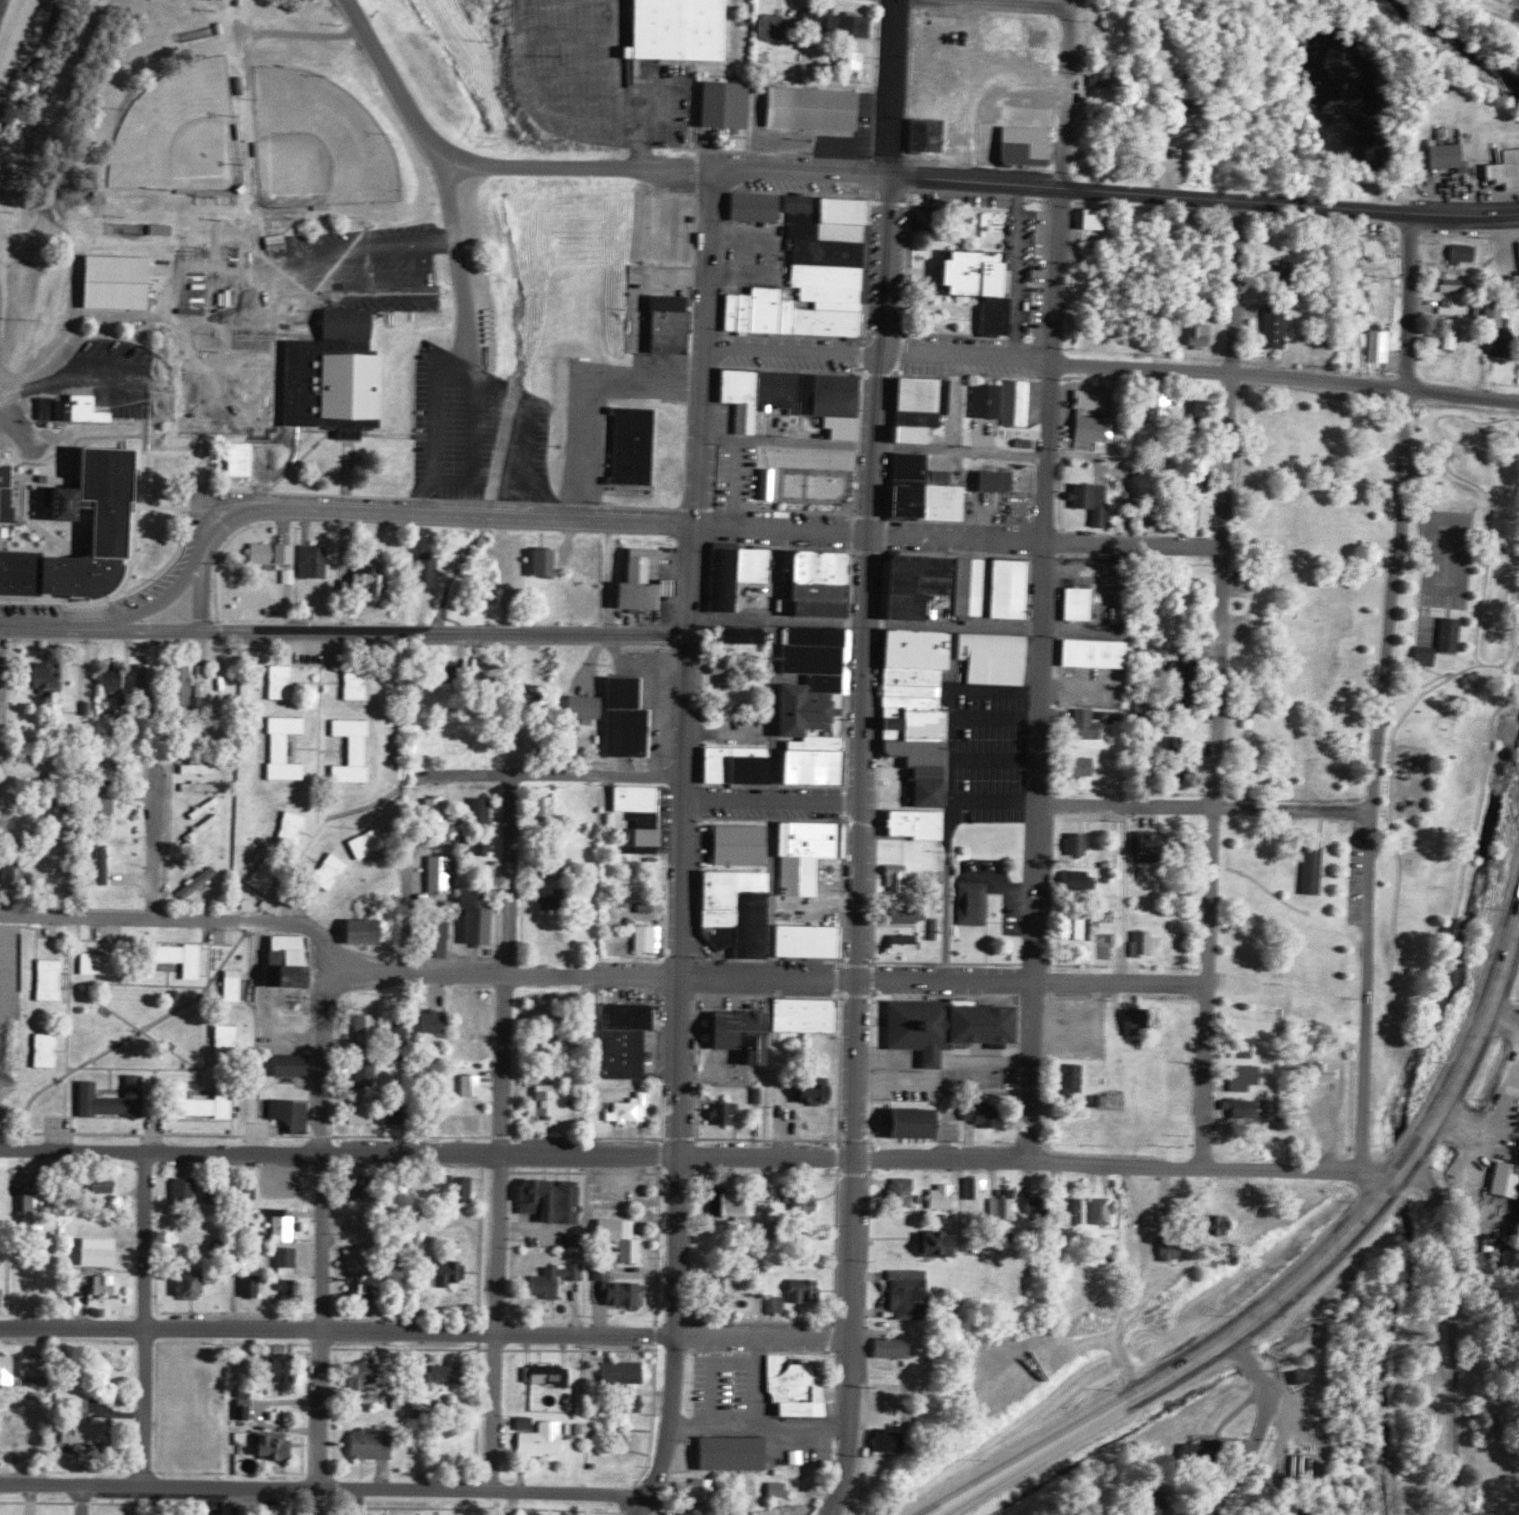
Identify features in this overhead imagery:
road: (993, 6)
building: (820, 19)
building: (856, 25)
building: (775, 26)
building: (674, 29)
road: (305, 34)
building: (855, 60)
building: (1104, 76)
road: (616, 85)
building: (717, 105)
building: (1185, 107)
building: (818, 108)
park: (180, 133)
building: (928, 134)
park: (319, 141)
building: (1024, 145)
building: (1448, 156)
road: (449, 163)
building: (1505, 169)
road: (684, 174)
road: (812, 175)
road: (710, 190)
road: (1206, 200)
building: (799, 202)
building: (755, 207)
building: (1092, 218)
building: (162, 229)
building: (1464, 253)
road: (464, 261)
road: (888, 267)
road: (1058, 270)
parking lot: (346, 274)
building: (814, 277)
building: (118, 281)
building: (1457, 285)
road: (273, 289)
building: (1495, 312)
building: (662, 325)
building: (1275, 326)
building: (1454, 333)
building: (1200, 335)
building: (1503, 339)
building: (1381, 345)
road: (794, 350)
building: (1395, 361)
road: (703, 365)
road: (1230, 373)
building: (330, 374)
road: (81, 375)
parking lot: (123, 375)
road: (1201, 375)
building: (795, 397)
building: (205, 399)
building: (923, 400)
building: (989, 400)
building: (1018, 402)
building: (1161, 402)
building: (75, 409)
building: (1198, 411)
building: (1094, 417)
road: (17, 427)
parking lot: (482, 432)
building: (909, 434)
road: (788, 441)
building: (627, 446)
road: (965, 451)
building: (241, 459)
building: (9, 470)
building: (996, 481)
building: (769, 483)
building: (1200, 483)
road: (1418, 487)
building: (923, 491)
building: (86, 494)
building: (1093, 500)
road: (419, 505)
road: (559, 510)
building: (1198, 514)
road: (499, 516)
road: (1049, 540)
building: (273, 553)
parking lot: (1447, 558)
building: (316, 561)
building: (544, 562)
building: (910, 564)
building: (15, 565)
building: (430, 568)
building: (730, 573)
building: (293, 576)
building: (493, 577)
building: (369, 580)
building: (641, 582)
building: (816, 583)
building: (971, 586)
building: (1006, 587)
building: (906, 594)
building: (1075, 604)
road: (778, 621)
road: (983, 628)
road: (337, 631)
building: (1446, 632)
building: (742, 634)
building: (911, 647)
building: (1091, 653)
building: (1424, 654)
building: (993, 657)
building: (356, 669)
building: (449, 669)
building: (483, 674)
building: (45, 676)
building: (912, 676)
building: (1180, 677)
building: (110, 679)
building: (145, 679)
building: (204, 681)
building: (283, 681)
building: (182, 684)
building: (909, 690)
road: (1382, 692)
building: (908, 701)
building: (587, 706)
building: (801, 712)
building: (1116, 717)
park: (1450, 718)
building: (624, 719)
building: (913, 722)
building: (1089, 724)
building: (578, 746)
building: (287, 747)
building: (355, 750)
building: (918, 757)
building: (1085, 765)
building: (735, 767)
building: (813, 767)
building: (201, 768)
building: (113, 775)
road: (553, 776)
building: (922, 792)
building: (634, 797)
road: (773, 802)
building: (116, 806)
building: (546, 807)
building: (436, 808)
building: (483, 811)
road: (1207, 812)
building: (643, 818)
building: (912, 825)
building: (294, 829)
building: (639, 839)
building: (371, 843)
building: (1079, 844)
building: (737, 845)
building: (483, 846)
road: (1041, 851)
road: (154, 854)
building: (805, 856)
road: (1212, 858)
building: (105, 864)
building: (556, 869)
building: (1311, 869)
building: (333, 871)
building: (267, 876)
building: (899, 877)
building: (1079, 881)
building: (200, 882)
building: (551, 898)
building: (975, 903)
road: (446, 908)
building: (731, 909)
building: (909, 914)
building: (476, 918)
building: (940, 928)
building: (1079, 929)
building: (361, 931)
building: (647, 938)
building: (438, 939)
building: (802, 940)
building: (905, 943)
building: (1147, 944)
building: (174, 958)
building: (288, 961)
building: (98, 963)
road: (421, 968)
building: (51, 980)
road: (1034, 983)
building: (234, 985)
building: (802, 1014)
building: (622, 1015)
building: (1134, 1017)
building: (436, 1021)
road: (680, 1022)
road: (857, 1025)
building: (938, 1026)
building: (369, 1029)
building: (402, 1029)
building: (733, 1032)
building: (227, 1039)
building: (1243, 1048)
building: (47, 1050)
building: (618, 1052)
building: (286, 1066)
building: (1326, 1072)
building: (368, 1074)
building: (1245, 1077)
building: (1073, 1082)
building: (472, 1085)
building: (812, 1090)
building: (114, 1099)
building: (546, 1102)
building: (200, 1103)
road: (62, 1109)
building: (1244, 1109)
building: (1302, 1109)
building: (631, 1110)
building: (724, 1113)
building: (981, 1113)
building: (360, 1114)
building: (294, 1115)
building: (391, 1115)
building: (905, 1122)
road: (1327, 1126)
road: (502, 1135)
road: (160, 1152)
road: (587, 1157)
road: (1126, 1167)
building: (1507, 1179)
building: (102, 1185)
building: (976, 1186)
building: (464, 1188)
building: (251, 1190)
building: (903, 1191)
building: (187, 1192)
building: (944, 1196)
building: (552, 1198)
building: (806, 1199)
building: (732, 1205)
building: (1005, 1205)
building: (1037, 1207)
building: (1071, 1210)
building: (1104, 1210)
building: (32, 1213)
road: (322, 1224)
building: (1214, 1224)
building: (278, 1229)
building: (622, 1236)
building: (938, 1242)
building: (424, 1243)
building: (1171, 1250)
building: (102, 1251)
building: (280, 1257)
building: (556, 1278)
building: (104, 1284)
building: (190, 1284)
building: (252, 1284)
building: (289, 1287)
building: (362, 1287)
building: (618, 1288)
building: (803, 1289)
building: (717, 1290)
building: (909, 1292)
road: (1291, 1292)
building: (778, 1303)
road: (145, 1321)
road: (424, 1331)
building: (891, 1347)
building: (8, 1365)
building: (280, 1369)
building: (623, 1371)
building: (362, 1373)
building: (549, 1373)
building: (444, 1375)
building: (1304, 1376)
building: (794, 1388)
building: (632, 1402)
road: (78, 1408)
building: (527, 1422)
building: (77, 1423)
road: (1265, 1431)
building: (545, 1439)
building: (891, 1440)
building: (370, 1444)
building: (274, 1445)
building: (726, 1454)
building: (705, 1489)
building: (779, 1489)
road: (322, 1491)
road: (82, 1502)
building: (1154, 1502)
road: (212, 1503)
building: (688, 1514)

